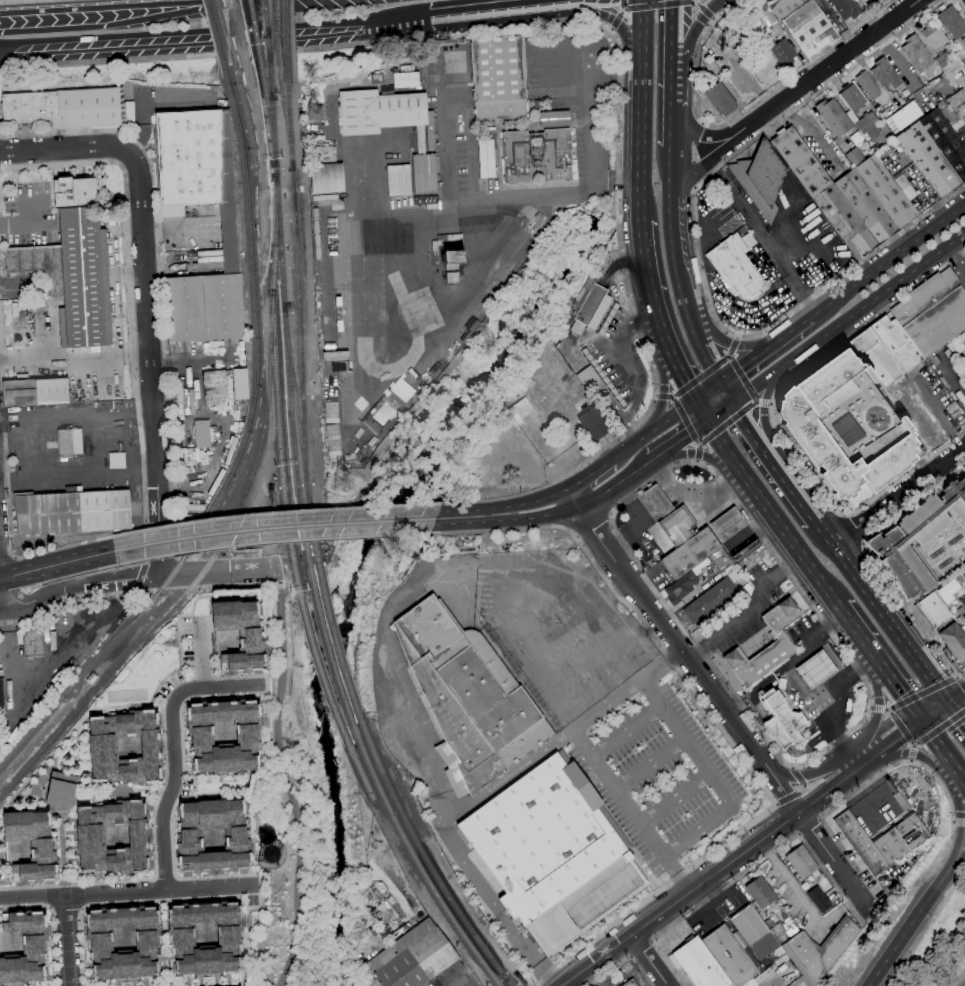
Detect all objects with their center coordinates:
road: (16, 0)
road: (696, 1)
road: (227, 2)
road: (961, 4)
road: (623, 5)
road: (660, 6)
road: (499, 8)
building: (846, 8)
road: (99, 10)
road: (703, 10)
building: (766, 15)
railway: (263, 19)
railway: (265, 19)
road: (405, 19)
road: (618, 19)
road: (713, 19)
road: (614, 20)
building: (952, 22)
building: (804, 24)
road: (692, 27)
road: (612, 29)
road: (677, 31)
building: (933, 35)
road: (191, 37)
railway: (256, 41)
railway: (271, 41)
railway: (275, 41)
railway: (284, 41)
railway: (217, 42)
railway: (226, 42)
road: (238, 42)
building: (961, 45)
building: (436, 49)
building: (780, 51)
building: (917, 53)
building: (945, 57)
road: (148, 59)
railway: (267, 60)
road: (836, 63)
building: (884, 73)
building: (376, 78)
building: (498, 78)
building: (404, 79)
road: (836, 80)
building: (867, 85)
road: (675, 87)
railway: (270, 91)
railway: (271, 91)
building: (852, 96)
building: (718, 98)
building: (65, 107)
building: (953, 107)
road: (638, 110)
building: (858, 110)
building: (379, 111)
building: (128, 113)
road: (740, 113)
road: (591, 116)
building: (851, 116)
power tower: (314, 117)
building: (834, 117)
building: (903, 117)
building: (553, 118)
building: (866, 122)
railway: (269, 123)
railway: (286, 125)
railway: (289, 125)
railway: (248, 129)
road: (675, 129)
building: (430, 130)
railway: (273, 132)
building: (871, 134)
road: (709, 136)
building: (856, 138)
building: (420, 139)
building: (876, 148)
building: (935, 152)
building: (516, 153)
building: (855, 157)
road: (675, 158)
building: (188, 159)
railway: (243, 159)
building: (486, 159)
road: (712, 160)
building: (424, 173)
building: (327, 178)
building: (761, 178)
building: (399, 180)
road: (619, 180)
building: (906, 185)
building: (850, 194)
building: (417, 200)
building: (429, 200)
parking lot: (714, 212)
railway: (274, 231)
railway: (278, 233)
road: (675, 235)
road: (763, 237)
building: (230, 238)
road: (957, 252)
road: (358, 255)
road: (888, 260)
building: (81, 262)
road: (158, 262)
building: (39, 265)
building: (453, 265)
road: (144, 266)
building: (736, 268)
road: (648, 288)
road: (872, 300)
road: (131, 303)
parking lot: (756, 304)
building: (588, 306)
building: (932, 312)
road: (263, 326)
road: (772, 326)
flagpole: (732, 329)
road: (789, 332)
railway: (300, 335)
road: (720, 337)
road: (737, 337)
road: (700, 342)
building: (896, 343)
building: (957, 343)
road: (733, 347)
building: (875, 357)
building: (953, 360)
road: (745, 365)
building: (964, 365)
road: (805, 369)
building: (586, 376)
road: (701, 376)
road: (954, 376)
road: (680, 377)
building: (219, 378)
road: (743, 379)
traffic signals: (722, 381)
building: (240, 384)
road: (757, 384)
road: (666, 390)
road: (708, 391)
road: (728, 391)
building: (36, 392)
road: (656, 395)
road: (665, 395)
traffic signals: (694, 401)
traffic signals: (735, 401)
railway: (294, 402)
road: (763, 403)
road: (770, 404)
road: (763, 408)
road: (700, 411)
road: (721, 411)
building: (522, 412)
road: (677, 413)
road: (935, 413)
railway: (250, 414)
road: (686, 421)
traffic signals: (707, 421)
building: (593, 422)
road: (727, 423)
road: (751, 426)
building: (847, 428)
building: (203, 434)
railway: (260, 437)
road: (678, 441)
building: (69, 442)
railway: (293, 442)
road: (636, 442)
railway: (278, 444)
road: (699, 452)
road: (707, 456)
building: (117, 460)
road: (697, 461)
road: (910, 470)
road: (590, 474)
power tower: (344, 481)
road: (795, 489)
road: (900, 495)
road: (694, 497)
building: (658, 500)
road: (533, 501)
road: (580, 506)
road: (9, 509)
building: (71, 512)
road: (275, 512)
road: (771, 514)
road: (467, 516)
road: (640, 521)
building: (725, 521)
road: (745, 521)
road: (591, 525)
building: (678, 526)
road: (853, 526)
road: (272, 528)
railway: (312, 537)
building: (918, 540)
road: (269, 541)
building: (739, 541)
road: (153, 544)
road: (166, 544)
road: (232, 548)
building: (697, 555)
road: (7, 560)
road: (258, 560)
road: (873, 561)
road: (607, 562)
road: (56, 565)
road: (239, 570)
road: (181, 573)
road: (66, 576)
road: (140, 577)
road: (79, 584)
building: (683, 584)
railway: (164, 585)
road: (623, 585)
road: (241, 587)
building: (746, 588)
building: (712, 595)
road: (69, 598)
road: (1, 605)
road: (1, 608)
building: (932, 610)
road: (749, 611)
road: (886, 613)
building: (964, 617)
building: (239, 634)
building: (954, 641)
building: (33, 643)
building: (781, 643)
railway: (336, 648)
road: (828, 653)
road: (201, 656)
railway: (329, 658)
road: (58, 659)
road: (879, 663)
road: (854, 665)
building: (814, 669)
gas station: (814, 669)
railway: (319, 671)
building: (90, 678)
road: (957, 678)
road: (958, 678)
railway: (76, 680)
road: (795, 683)
railway: (100, 684)
road: (962, 684)
road: (626, 688)
building: (469, 694)
road: (922, 694)
building: (2, 699)
road: (718, 699)
traffic signals: (950, 701)
road: (943, 705)
road: (871, 707)
road: (880, 709)
road: (957, 709)
road: (881, 713)
building: (782, 720)
traffic signals: (922, 721)
road: (833, 727)
road: (901, 727)
road: (939, 728)
road: (625, 730)
road: (722, 730)
building: (223, 735)
road: (939, 746)
building: (124, 747)
road: (173, 748)
road: (912, 752)
road: (914, 752)
road: (911, 761)
road: (649, 763)
railway: (358, 768)
road: (818, 776)
parking lot: (657, 777)
road: (711, 777)
road: (961, 777)
road: (287, 778)
building: (60, 789)
road: (801, 790)
road: (853, 793)
road: (673, 797)
road: (630, 810)
road: (961, 821)
road: (954, 823)
road: (960, 823)
road: (808, 826)
building: (211, 836)
building: (112, 837)
road: (449, 839)
building: (882, 840)
building: (31, 844)
building: (269, 853)
storage tank: (269, 853)
road: (741, 853)
building: (551, 854)
railway: (425, 860)
road: (957, 860)
building: (801, 862)
railway: (417, 864)
road: (752, 868)
road: (127, 891)
building: (761, 892)
building: (819, 899)
building: (389, 912)
road: (52, 921)
road: (909, 927)
building: (783, 931)
building: (756, 933)
building: (205, 937)
road: (66, 940)
building: (122, 942)
building: (24, 947)
road: (639, 948)
building: (819, 951)
building: (729, 956)
building: (414, 957)
road: (648, 960)
road: (625, 962)
building: (699, 964)
building: (630, 983)

